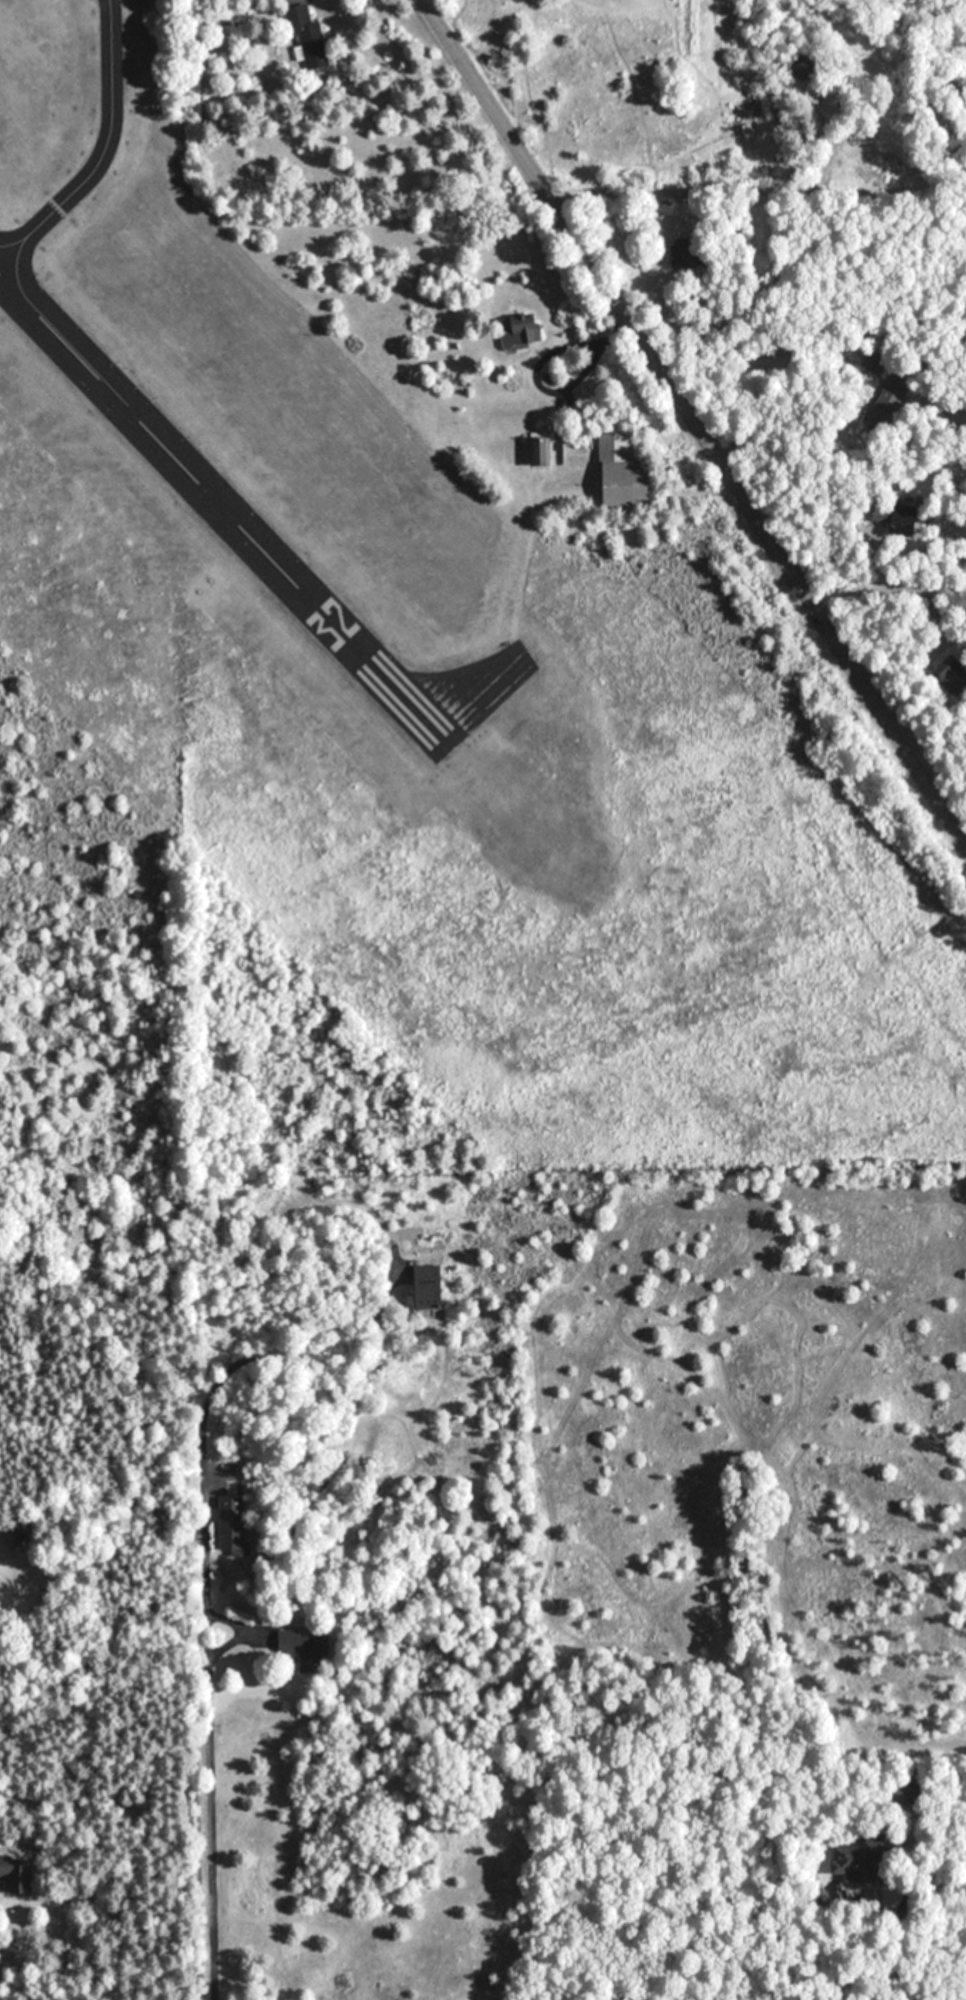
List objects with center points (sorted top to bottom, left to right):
building: (308, 44)
airport taxiway: (105, 150)
road: (754, 198)
building: (519, 329)
road: (691, 422)
building: (616, 471)
airport runway: (226, 514)
airport: (368, 546)
building: (947, 676)
building: (417, 1288)
building: (228, 1530)
road: (206, 1602)
building: (300, 1646)
building: (858, 1858)
building: (13, 1875)
road: (899, 1955)

